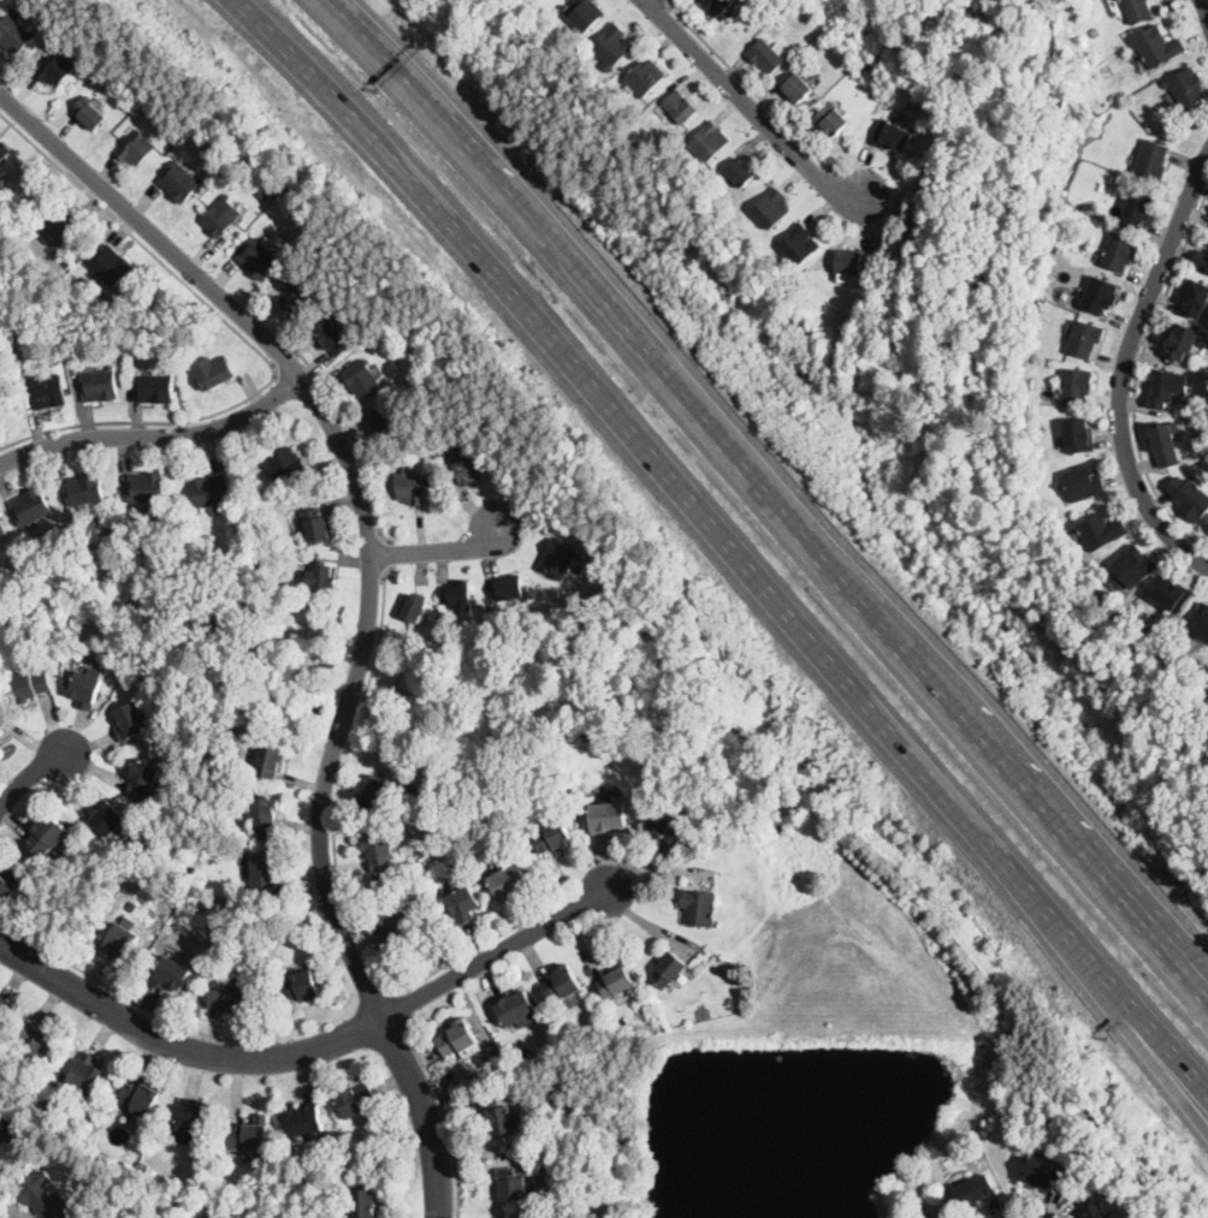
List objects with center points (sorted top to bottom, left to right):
building: (795, 4)
building: (718, 6)
road: (1206, 6)
building: (1138, 11)
building: (585, 13)
building: (14, 34)
building: (1078, 38)
building: (614, 47)
building: (1157, 47)
building: (765, 57)
building: (57, 69)
building: (1106, 69)
building: (645, 77)
road: (750, 87)
building: (798, 88)
building: (1186, 88)
road: (746, 102)
building: (681, 107)
building: (90, 113)
building: (831, 121)
building: (893, 136)
building: (709, 142)
building: (136, 147)
building: (4, 150)
building: (1153, 160)
building: (220, 164)
building: (741, 173)
building: (180, 182)
building: (1090, 204)
building: (772, 208)
building: (1139, 209)
building: (223, 216)
building: (63, 230)
building: (799, 246)
building: (1120, 252)
building: (259, 259)
building: (1201, 260)
building: (849, 261)
building: (111, 266)
building: (63, 287)
building: (1100, 296)
building: (298, 297)
building: (1195, 298)
building: (332, 337)
road: (247, 338)
building: (1085, 339)
building: (1182, 341)
road: (282, 353)
road: (1123, 368)
building: (213, 372)
road: (1137, 376)
building: (363, 378)
building: (1030, 382)
building: (101, 386)
building: (1077, 386)
building: (156, 387)
building: (1167, 387)
building: (48, 392)
building: (383, 423)
road: (155, 435)
road: (354, 436)
building: (1079, 436)
building: (1036, 445)
building: (1166, 446)
building: (286, 463)
building: (467, 464)
building: (1084, 483)
building: (411, 487)
building: (147, 488)
building: (85, 489)
building: (211, 491)
road: (775, 492)
road: (355, 493)
building: (1190, 499)
building: (31, 506)
building: (316, 524)
building: (2, 531)
building: (1102, 531)
road: (727, 539)
road: (390, 549)
road: (438, 549)
building: (558, 558)
building: (1135, 566)
building: (581, 568)
building: (324, 576)
building: (155, 582)
building: (511, 588)
building: (461, 595)
building: (1173, 595)
building: (413, 607)
building: (1200, 624)
building: (119, 654)
building: (428, 670)
building: (31, 685)
building: (88, 688)
building: (2, 715)
building: (132, 721)
building: (0, 726)
building: (1, 730)
building: (270, 759)
road: (26, 774)
building: (143, 778)
building: (379, 794)
building: (556, 810)
building: (265, 814)
building: (107, 818)
building: (609, 818)
building: (669, 827)
building: (47, 833)
building: (553, 837)
building: (380, 852)
building: (265, 866)
road: (339, 879)
building: (510, 880)
building: (10, 881)
building: (464, 902)
building: (700, 908)
building: (393, 922)
building: (120, 943)
road: (492, 950)
road: (1184, 966)
building: (671, 972)
building: (171, 974)
building: (617, 981)
building: (562, 985)
building: (301, 986)
building: (675, 990)
road: (372, 998)
road: (404, 1000)
building: (232, 1002)
building: (4, 1008)
building: (519, 1010)
building: (704, 1014)
road: (167, 1016)
building: (458, 1038)
building: (40, 1042)
road: (179, 1046)
road: (1161, 1054)
building: (85, 1075)
building: (58, 1076)
building: (141, 1099)
building: (357, 1100)
building: (35, 1109)
road: (446, 1110)
road: (425, 1112)
building: (499, 1116)
building: (194, 1117)
building: (306, 1119)
building: (12, 1123)
building: (250, 1136)
building: (0, 1149)
building: (144, 1166)
building: (1046, 1174)
building: (515, 1184)
building: (975, 1192)
building: (41, 1198)
building: (365, 1204)
building: (1095, 1211)
building: (503, 1217)
building: (948, 1217)

